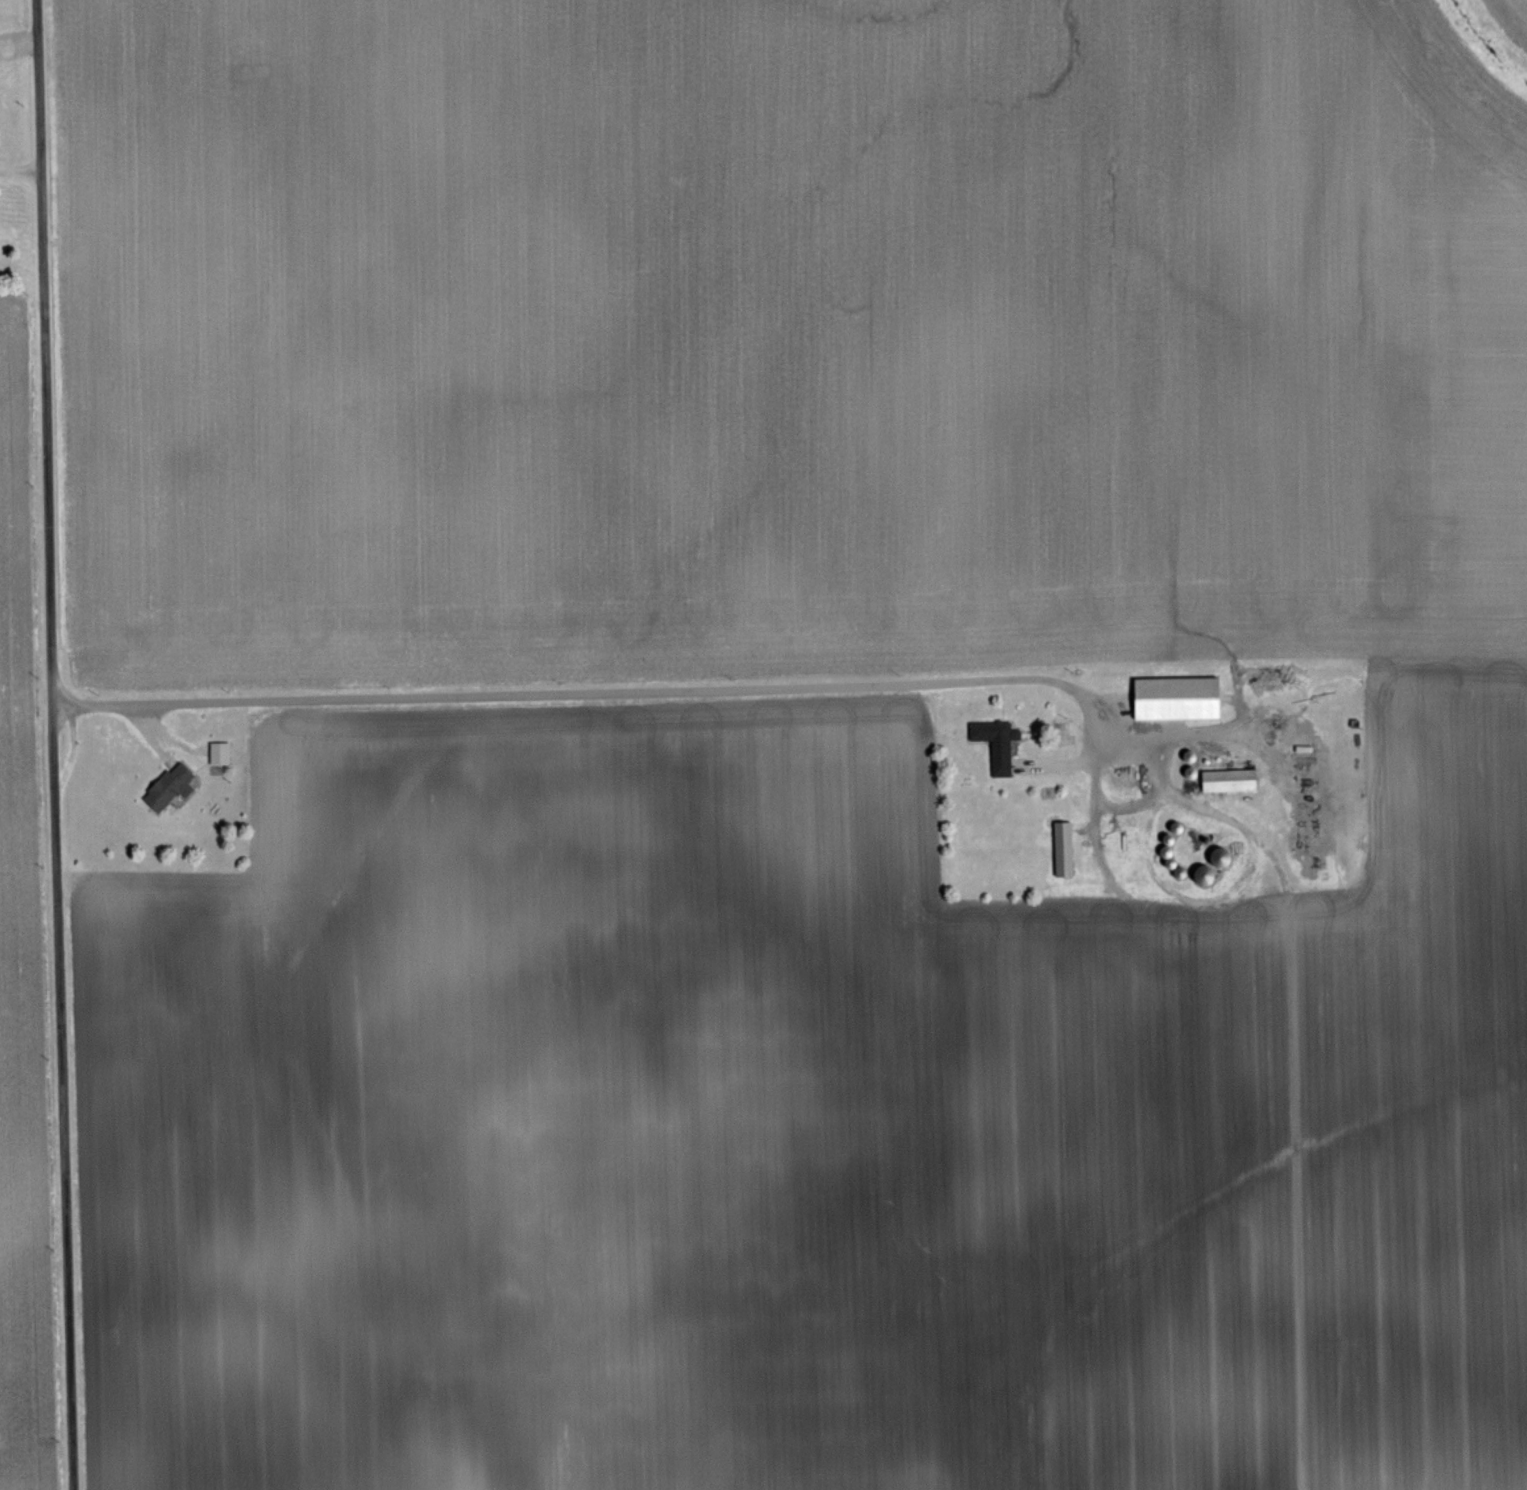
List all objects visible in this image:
crop: (1515, 13)
road: (600, 689)
crop: (793, 742)
road: (54, 745)
building: (999, 747)
building: (222, 756)
building: (1232, 783)
building: (173, 790)
building: (1066, 849)
crop: (23, 964)

